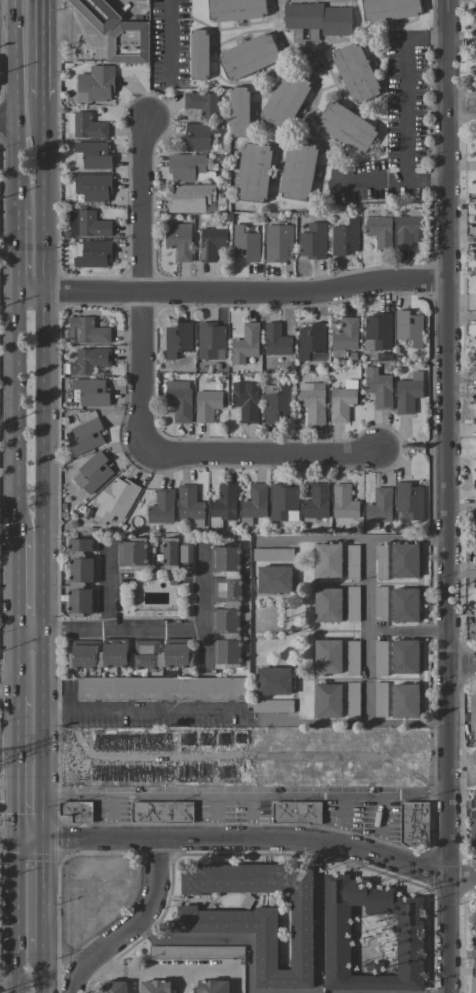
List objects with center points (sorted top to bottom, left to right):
road: (89, 7)
building: (236, 9)
building: (389, 9)
building: (97, 14)
building: (317, 20)
road: (63, 23)
building: (475, 29)
road: (172, 35)
building: (128, 42)
road: (44, 50)
building: (199, 54)
building: (249, 56)
building: (475, 68)
building: (355, 72)
building: (97, 82)
building: (284, 101)
road: (14, 104)
building: (203, 104)
road: (458, 110)
building: (239, 111)
road: (7, 122)
building: (85, 125)
road: (405, 126)
building: (346, 127)
building: (199, 137)
building: (475, 150)
building: (91, 155)
building: (186, 167)
building: (298, 170)
building: (253, 172)
road: (423, 177)
building: (475, 182)
building: (93, 187)
building: (191, 199)
building: (475, 221)
building: (87, 223)
building: (407, 228)
building: (379, 231)
building: (344, 238)
building: (179, 240)
building: (312, 241)
building: (211, 243)
building: (278, 243)
building: (245, 244)
building: (474, 251)
road: (13, 252)
building: (91, 253)
road: (138, 287)
building: (475, 290)
road: (226, 294)
building: (475, 316)
building: (408, 327)
building: (86, 331)
building: (377, 332)
road: (439, 333)
building: (344, 336)
building: (177, 339)
building: (210, 340)
building: (275, 340)
building: (311, 340)
building: (245, 343)
building: (85, 361)
building: (475, 366)
building: (379, 388)
building: (90, 392)
building: (407, 393)
building: (179, 400)
building: (245, 401)
building: (312, 401)
building: (342, 401)
building: (276, 402)
building: (206, 405)
road: (13, 416)
building: (86, 436)
building: (475, 445)
road: (256, 454)
road: (44, 468)
building: (92, 472)
building: (475, 486)
building: (114, 501)
building: (316, 502)
building: (343, 502)
building: (408, 502)
building: (283, 503)
building: (253, 504)
building: (189, 505)
building: (223, 505)
building: (378, 508)
building: (160, 510)
road: (352, 541)
building: (475, 550)
building: (132, 553)
building: (176, 553)
building: (272, 554)
building: (327, 560)
building: (405, 561)
building: (352, 562)
building: (380, 562)
building: (81, 577)
building: (274, 579)
road: (13, 583)
road: (106, 587)
building: (475, 589)
building: (352, 604)
building: (380, 604)
building: (327, 605)
building: (405, 605)
road: (199, 607)
building: (227, 607)
road: (106, 629)
building: (475, 629)
road: (404, 634)
building: (130, 654)
building: (327, 656)
building: (405, 657)
building: (352, 658)
building: (380, 658)
road: (13, 662)
road: (460, 665)
road: (365, 669)
road: (6, 675)
building: (273, 681)
building: (161, 688)
building: (352, 699)
building: (380, 699)
building: (327, 701)
building: (405, 701)
building: (272, 706)
road: (141, 709)
building: (473, 709)
road: (246, 757)
road: (12, 765)
road: (6, 783)
road: (76, 794)
road: (181, 795)
road: (360, 795)
road: (384, 795)
road: (320, 796)
road: (250, 799)
building: (77, 811)
building: (162, 812)
building: (296, 812)
road: (110, 816)
building: (414, 824)
road: (441, 829)
building: (473, 829)
traffic signals: (12, 837)
traffic signals: (43, 837)
road: (245, 839)
road: (43, 892)
building: (246, 901)
road: (12, 909)
building: (255, 915)
building: (473, 917)
road: (128, 923)
building: (410, 938)
building: (473, 951)
building: (195, 952)
road: (100, 966)
road: (44, 970)
road: (188, 971)
road: (6, 982)
building: (473, 985)
building: (155, 986)
building: (212, 986)
road: (12, 987)
building: (113, 987)
road: (269, 992)

